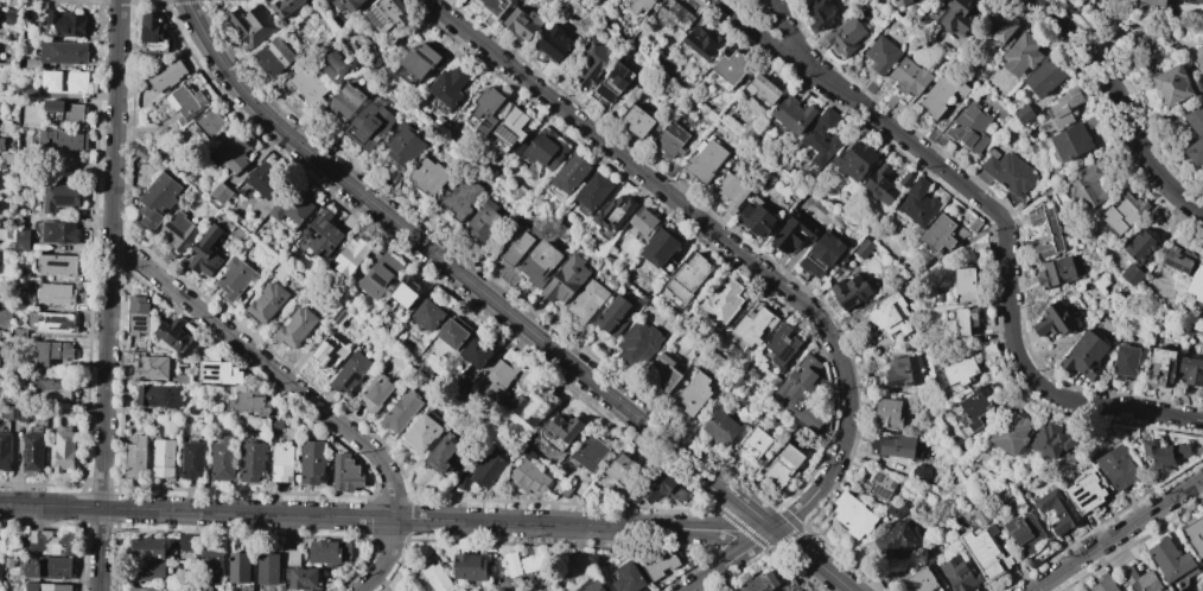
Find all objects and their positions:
building: (804, 0)
road: (777, 1)
building: (1192, 1)
building: (900, 2)
building: (1156, 2)
building: (348, 4)
building: (638, 4)
building: (50, 5)
building: (285, 6)
building: (492, 6)
building: (1088, 9)
building: (13, 12)
road: (734, 13)
building: (822, 13)
building: (388, 14)
building: (673, 14)
building: (957, 14)
building: (489, 20)
building: (523, 21)
building: (63, 25)
building: (253, 25)
road: (789, 28)
building: (154, 33)
building: (1004, 33)
building: (845, 36)
building: (327, 43)
building: (555, 43)
building: (701, 43)
building: (670, 44)
road: (774, 45)
building: (64, 52)
building: (881, 55)
building: (1020, 55)
building: (275, 57)
building: (421, 59)
building: (592, 61)
building: (31, 63)
building: (376, 63)
building: (78, 66)
building: (728, 66)
building: (335, 68)
building: (167, 74)
building: (909, 77)
building: (1045, 78)
building: (65, 82)
building: (306, 84)
building: (611, 84)
building: (1175, 84)
building: (448, 85)
building: (870, 87)
building: (763, 88)
building: (31, 91)
building: (941, 94)
building: (189, 100)
building: (890, 100)
building: (344, 103)
building: (53, 106)
road: (1122, 106)
building: (1064, 107)
building: (485, 109)
building: (74, 113)
building: (793, 114)
building: (1023, 114)
building: (1005, 117)
building: (637, 120)
building: (1093, 120)
building: (210, 123)
building: (370, 125)
building: (511, 127)
building: (969, 127)
building: (8, 128)
building: (1194, 131)
building: (821, 138)
building: (61, 139)
building: (669, 139)
building: (1070, 142)
building: (1, 145)
building: (403, 146)
building: (545, 148)
building: (233, 152)
building: (141, 153)
building: (855, 159)
building: (705, 160)
building: (68, 165)
building: (1005, 172)
building: (428, 176)
building: (568, 176)
building: (267, 179)
building: (905, 179)
building: (0, 184)
building: (880, 184)
building: (1086, 188)
building: (730, 191)
building: (221, 193)
building: (592, 193)
building: (59, 196)
building: (459, 198)
building: (158, 199)
building: (918, 202)
building: (292, 204)
building: (615, 212)
building: (1118, 217)
building: (757, 220)
building: (485, 221)
building: (645, 222)
building: (565, 223)
building: (974, 224)
building: (178, 230)
building: (1045, 231)
building: (59, 233)
building: (795, 233)
building: (938, 233)
building: (319, 235)
road: (719, 236)
building: (23, 240)
building: (516, 243)
building: (1139, 246)
building: (979, 247)
building: (863, 248)
building: (662, 252)
building: (205, 253)
building: (821, 254)
building: (350, 256)
building: (610, 258)
road: (1007, 260)
building: (1178, 261)
building: (541, 263)
building: (58, 265)
building: (504, 271)
building: (1055, 272)
building: (381, 273)
building: (1131, 274)
building: (20, 277)
building: (689, 278)
building: (235, 279)
building: (514, 279)
building: (566, 279)
building: (613, 280)
building: (965, 284)
building: (1196, 284)
building: (849, 291)
building: (408, 292)
building: (56, 294)
road: (107, 294)
building: (938, 298)
building: (671, 299)
building: (587, 300)
building: (721, 301)
building: (268, 303)
road: (504, 309)
building: (138, 314)
building: (427, 316)
building: (889, 316)
building: (339, 317)
building: (616, 317)
building: (4, 318)
building: (1054, 319)
building: (966, 322)
building: (53, 323)
building: (753, 325)
building: (295, 328)
building: (19, 332)
building: (580, 332)
building: (452, 335)
building: (176, 336)
building: (586, 337)
building: (638, 344)
building: (782, 345)
building: (0, 347)
building: (52, 352)
building: (476, 354)
building: (329, 355)
building: (1084, 356)
building: (695, 362)
building: (1125, 362)
building: (1161, 366)
building: (151, 368)
building: (959, 369)
building: (1191, 370)
building: (350, 371)
building: (903, 371)
building: (219, 373)
building: (663, 373)
building: (182, 379)
building: (498, 381)
building: (737, 383)
building: (774, 383)
building: (462, 388)
building: (55, 389)
building: (802, 392)
road: (303, 393)
building: (376, 393)
building: (694, 393)
building: (158, 395)
building: (250, 401)
building: (532, 405)
building: (975, 405)
building: (195, 409)
building: (61, 411)
building: (401, 411)
building: (8, 412)
building: (26, 413)
building: (887, 413)
building: (278, 424)
building: (564, 428)
building: (723, 428)
building: (420, 433)
building: (1010, 433)
building: (1051, 440)
building: (753, 445)
building: (896, 445)
building: (63, 450)
building: (5, 451)
building: (588, 451)
building: (33, 452)
building: (1163, 452)
building: (443, 453)
building: (529, 453)
building: (135, 457)
building: (163, 457)
building: (223, 458)
building: (193, 459)
building: (252, 460)
building: (280, 462)
building: (312, 463)
building: (784, 465)
building: (488, 468)
building: (1116, 468)
building: (622, 470)
building: (919, 471)
building: (345, 472)
building: (527, 475)
building: (463, 482)
building: (877, 483)
building: (662, 488)
building: (566, 490)
building: (591, 493)
building: (1084, 493)
building: (632, 497)
building: (897, 508)
building: (1055, 510)
building: (852, 515)
building: (980, 515)
road: (357, 516)
road: (741, 525)
building: (1023, 532)
building: (1194, 534)
road: (1116, 535)
building: (896, 538)
road: (728, 539)
road: (757, 540)
building: (50, 542)
building: (184, 542)
building: (148, 548)
building: (327, 551)
building: (928, 553)
building: (982, 553)
building: (291, 557)
building: (8, 561)
building: (522, 563)
building: (658, 564)
building: (1171, 564)
building: (470, 566)
building: (578, 566)
building: (238, 567)
building: (47, 568)
building: (210, 568)
building: (268, 568)
building: (148, 571)
building: (0, 572)
road: (712, 572)
building: (957, 573)
building: (303, 578)
building: (435, 578)
building: (628, 578)
building: (922, 580)
building: (1140, 580)
building: (762, 583)
building: (1103, 583)
building: (513, 585)
building: (47, 586)
building: (590, 586)
building: (790, 586)
building: (145, 589)

